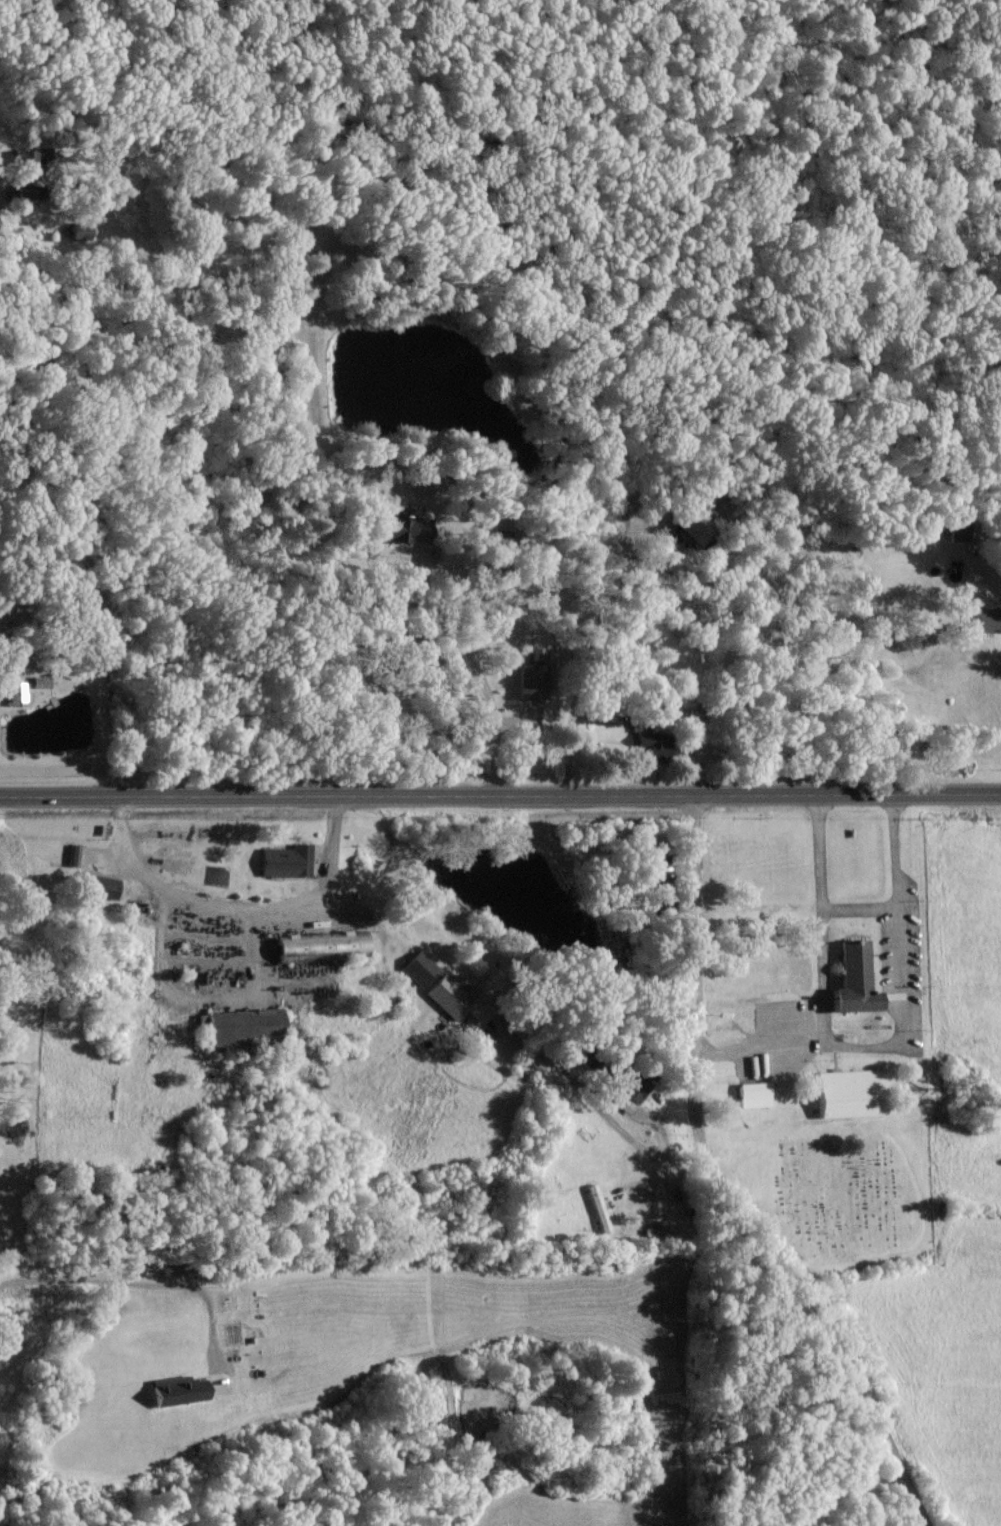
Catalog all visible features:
building: (27, 165)
building: (77, 231)
building: (694, 524)
building: (398, 527)
building: (982, 619)
road: (477, 667)
building: (530, 675)
building: (37, 681)
building: (16, 695)
road: (569, 731)
building: (651, 743)
road: (500, 792)
building: (71, 854)
building: (652, 858)
building: (284, 860)
building: (97, 885)
road: (896, 888)
building: (657, 901)
road: (238, 909)
building: (313, 945)
building: (416, 966)
road: (822, 973)
building: (851, 979)
building: (447, 994)
road: (196, 997)
building: (236, 1025)
building: (632, 1091)
building: (848, 1092)
building: (751, 1094)
road: (596, 1104)
road: (718, 1179)
building: (596, 1207)
road: (150, 1284)
building: (175, 1390)

